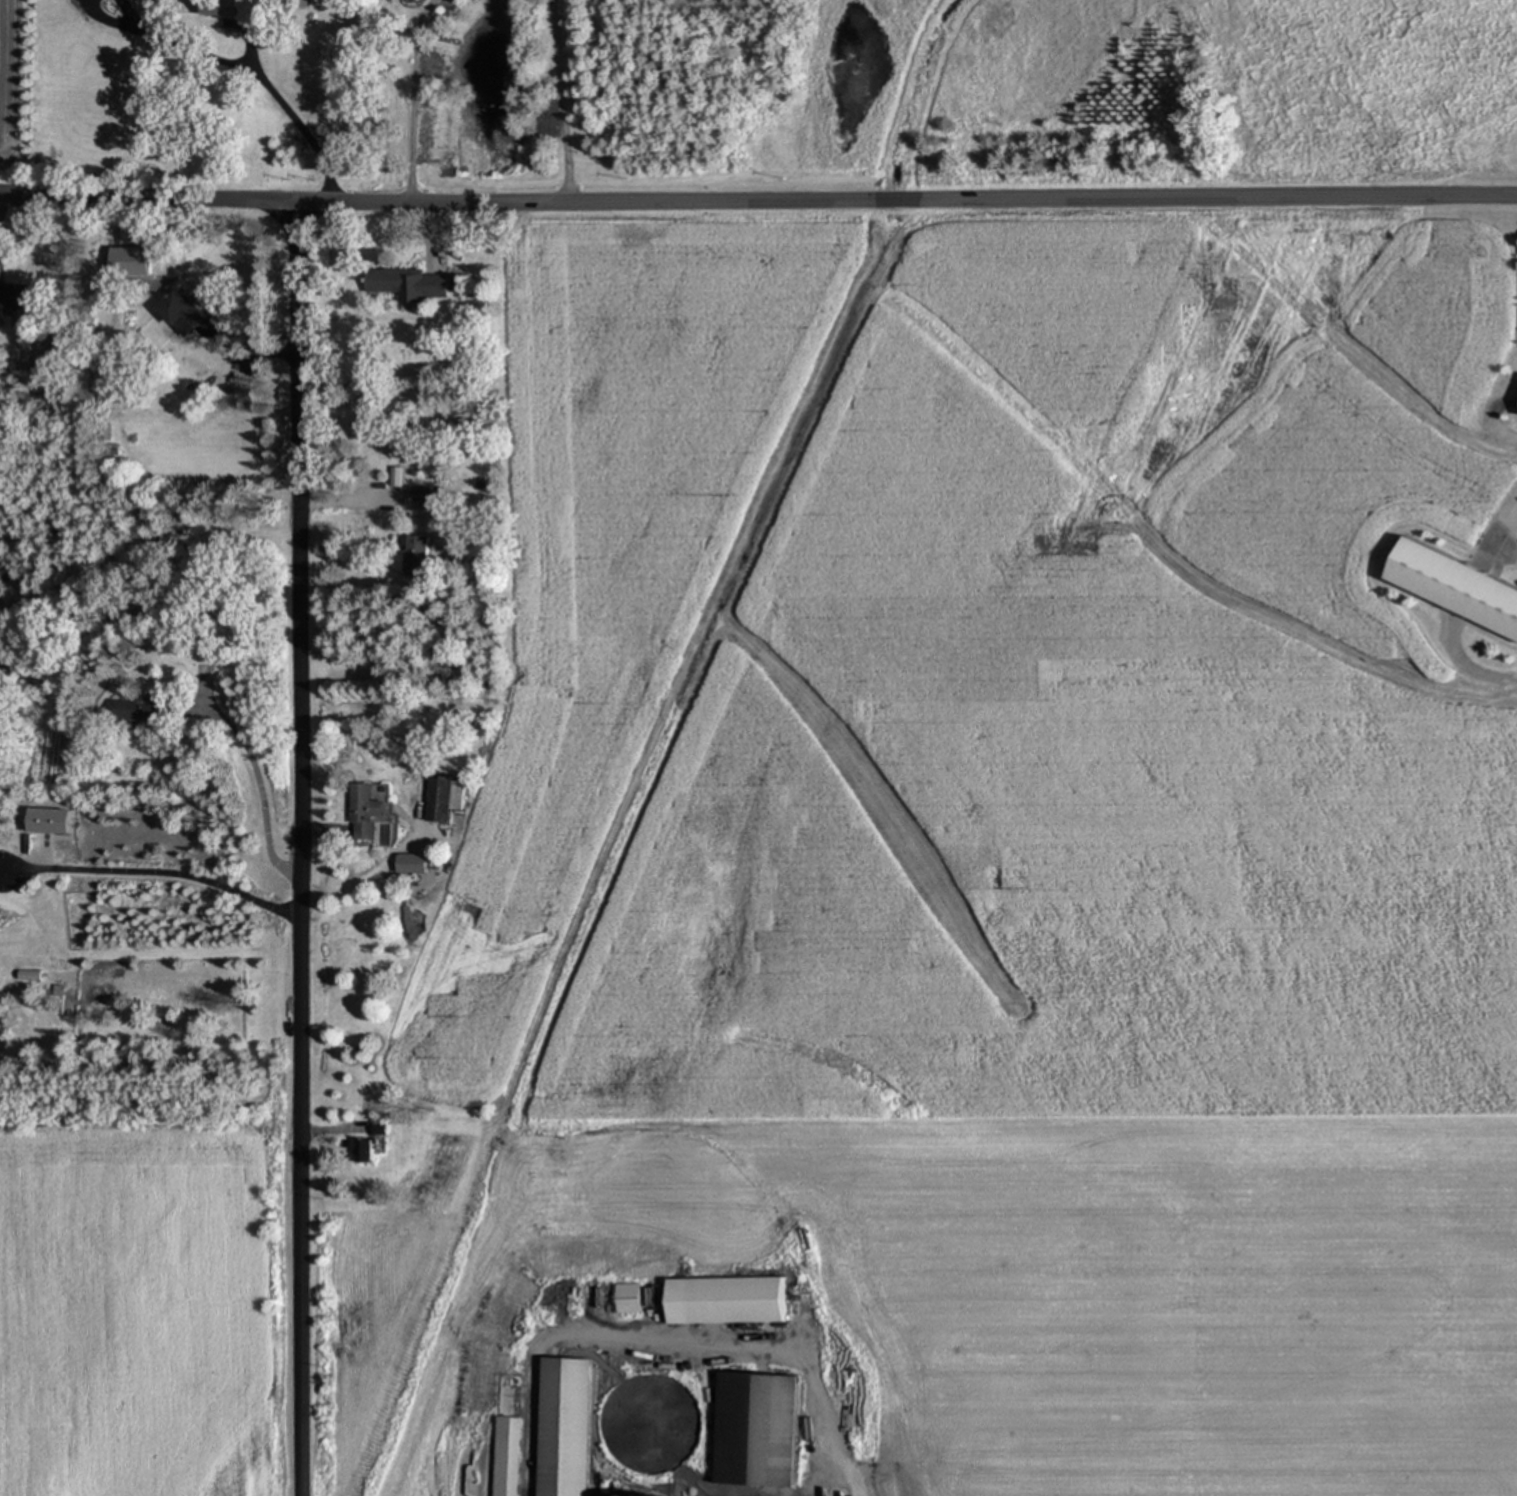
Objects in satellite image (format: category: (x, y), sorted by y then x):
building: (224, 7)
road: (120, 10)
road: (96, 19)
road: (245, 85)
road: (413, 92)
road: (561, 94)
road: (758, 190)
building: (407, 283)
building: (13, 296)
building: (180, 312)
building: (432, 498)
building: (417, 557)
building: (1456, 586)
building: (137, 710)
road: (259, 791)
building: (438, 799)
building: (364, 812)
road: (304, 842)
building: (410, 863)
road: (165, 870)
building: (379, 1126)
building: (364, 1150)
building: (736, 1300)
building: (568, 1427)
building: (757, 1430)
building: (506, 1456)

